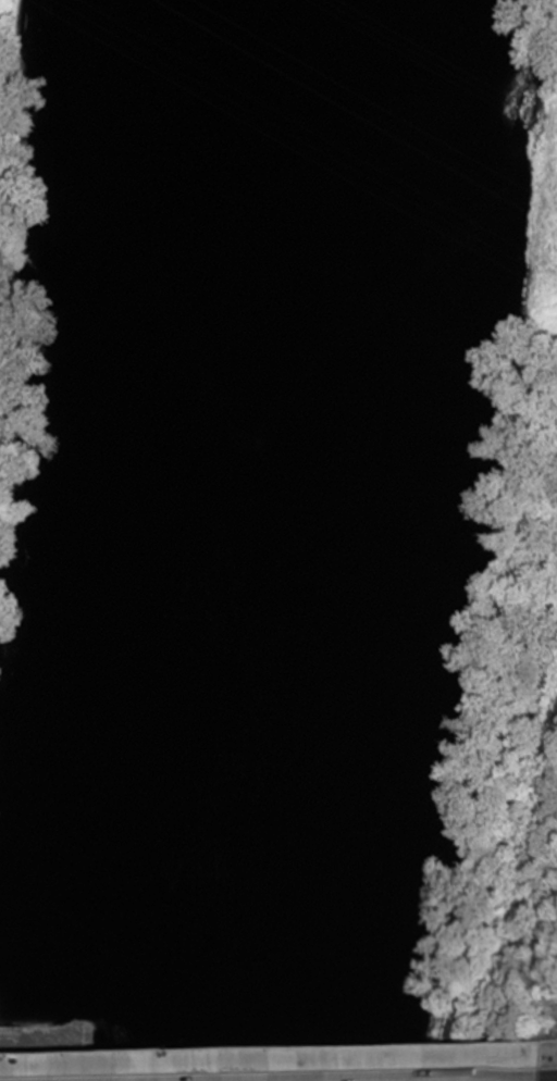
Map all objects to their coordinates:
river: (268, 544)
road: (496, 854)
road: (544, 1053)
road: (265, 1059)

